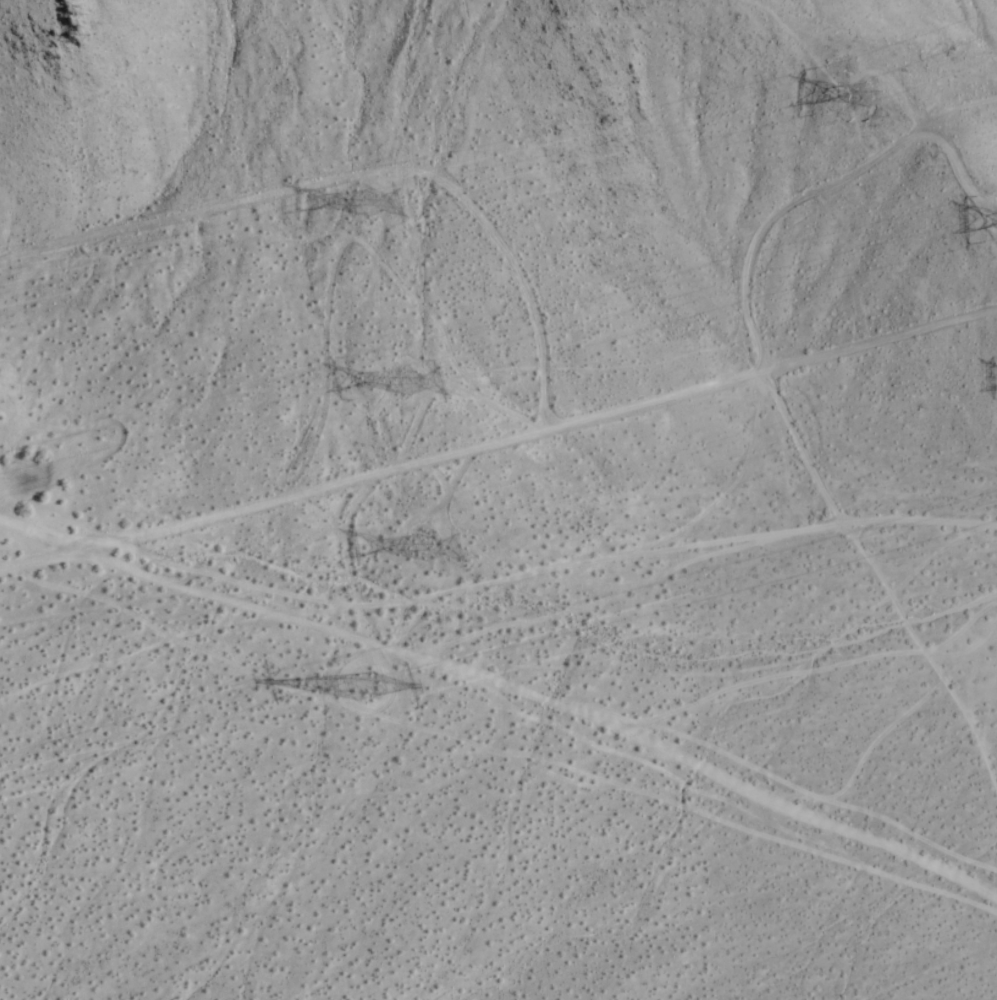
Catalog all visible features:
power tower: (877, 91)
power tower: (380, 197)
power tower: (419, 382)
road: (498, 436)
power tower: (435, 546)
road: (507, 680)
power tower: (374, 686)

